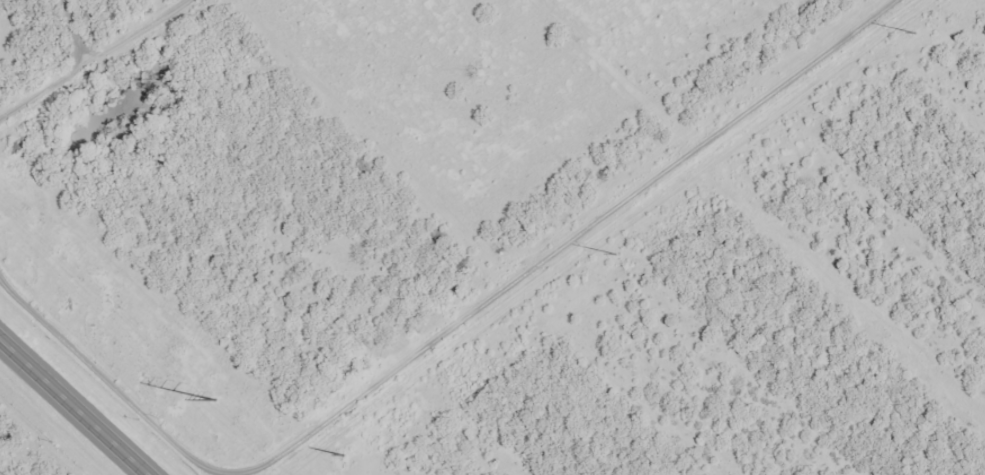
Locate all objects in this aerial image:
road: (89, 56)
power tower: (214, 402)
road: (76, 405)

